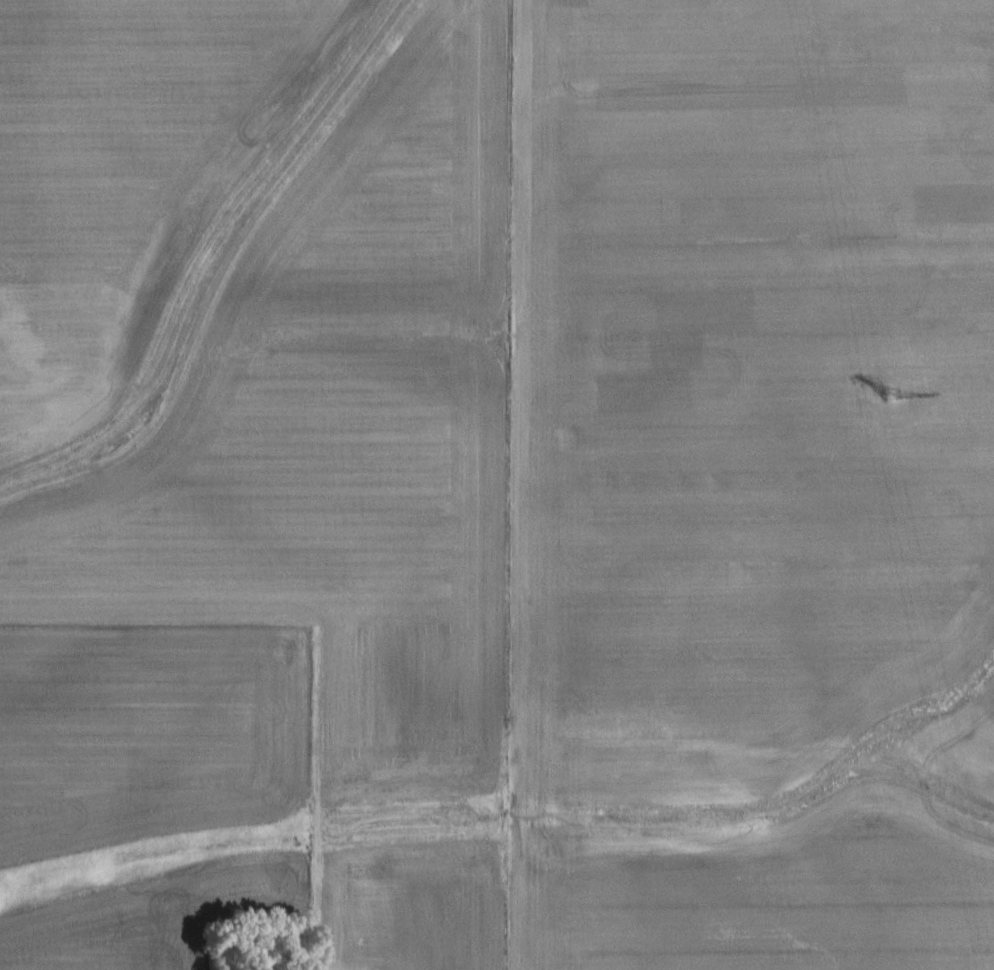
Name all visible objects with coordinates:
power tower: (896, 412)

